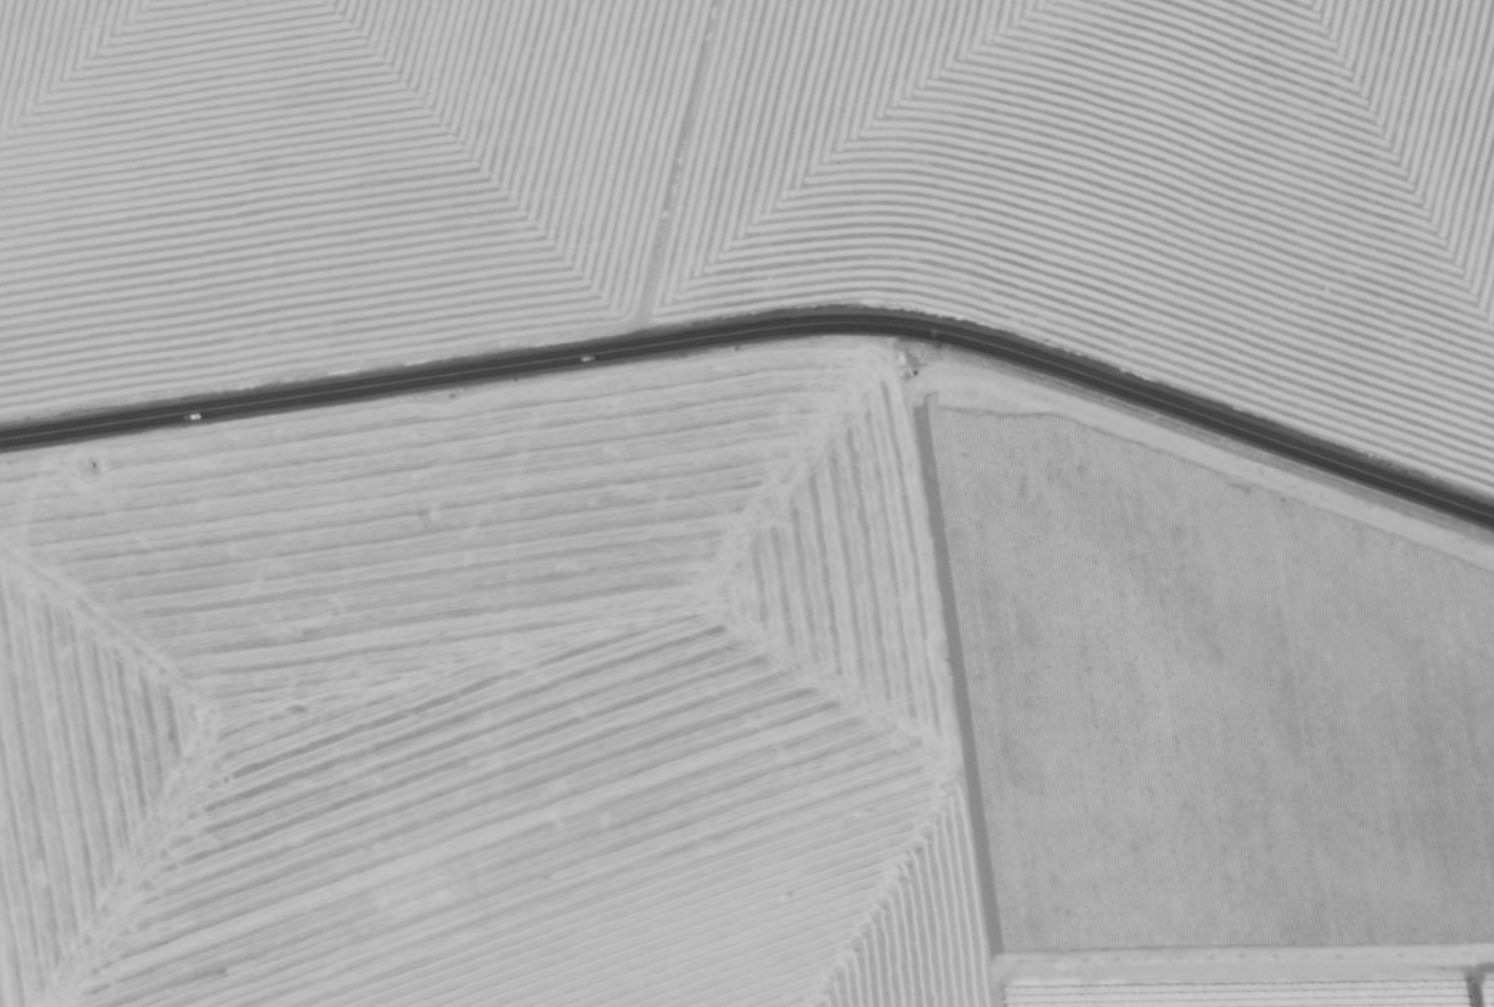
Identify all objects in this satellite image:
crop: (759, 187)
road: (456, 369)
road: (1205, 413)
road: (946, 658)
crop: (738, 718)
road: (1239, 971)
road: (1471, 987)
road: (997, 1000)

